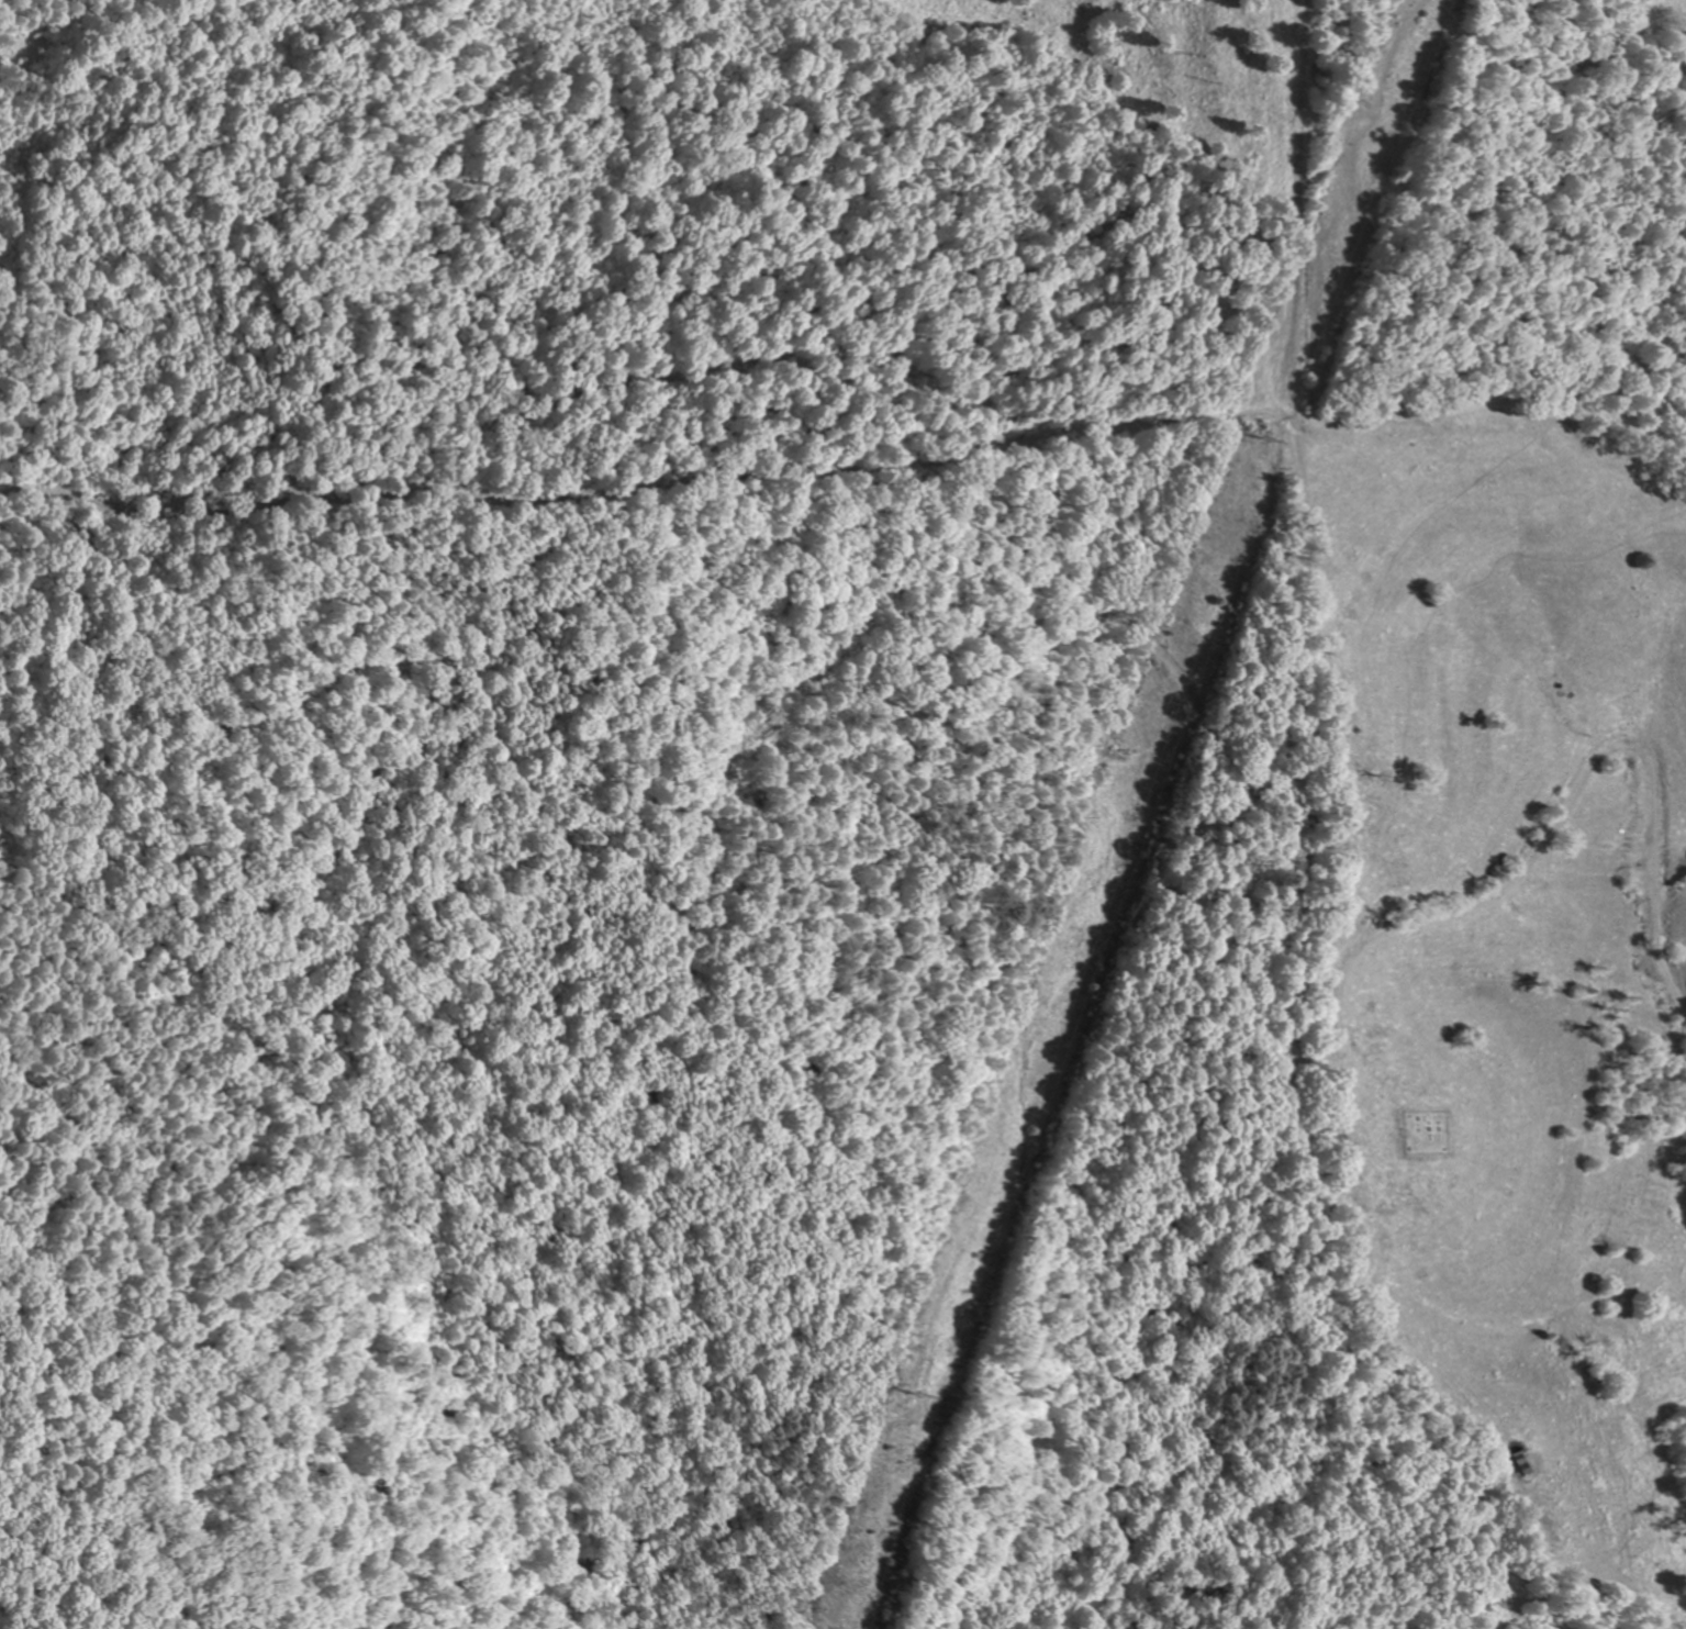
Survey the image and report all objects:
park: (1425, 1131)
building: (1523, 1461)

